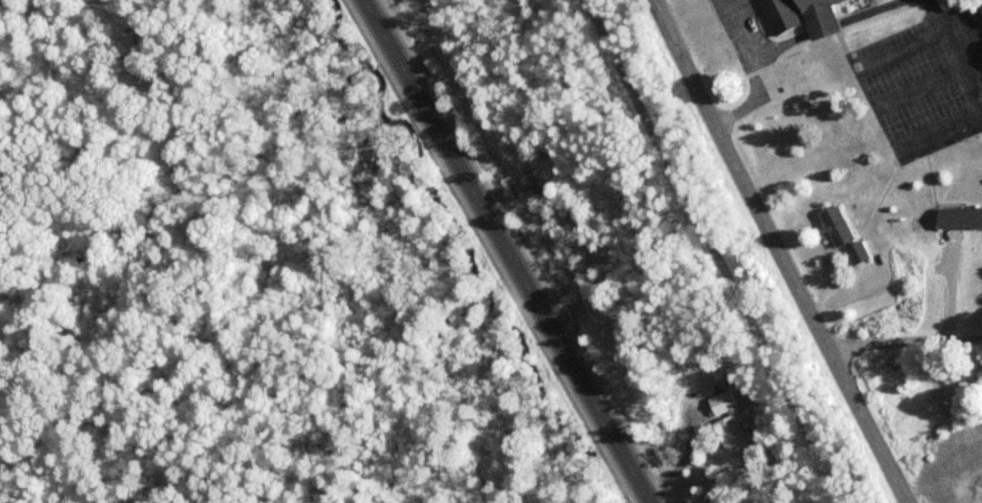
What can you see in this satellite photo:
building: (797, 15)
parking lot: (729, 38)
parking lot: (925, 82)
road: (736, 171)
building: (957, 215)
building: (833, 224)
building: (855, 250)
road: (507, 251)
road: (717, 251)
road: (901, 347)
building: (725, 417)
road: (863, 423)
road: (683, 455)

